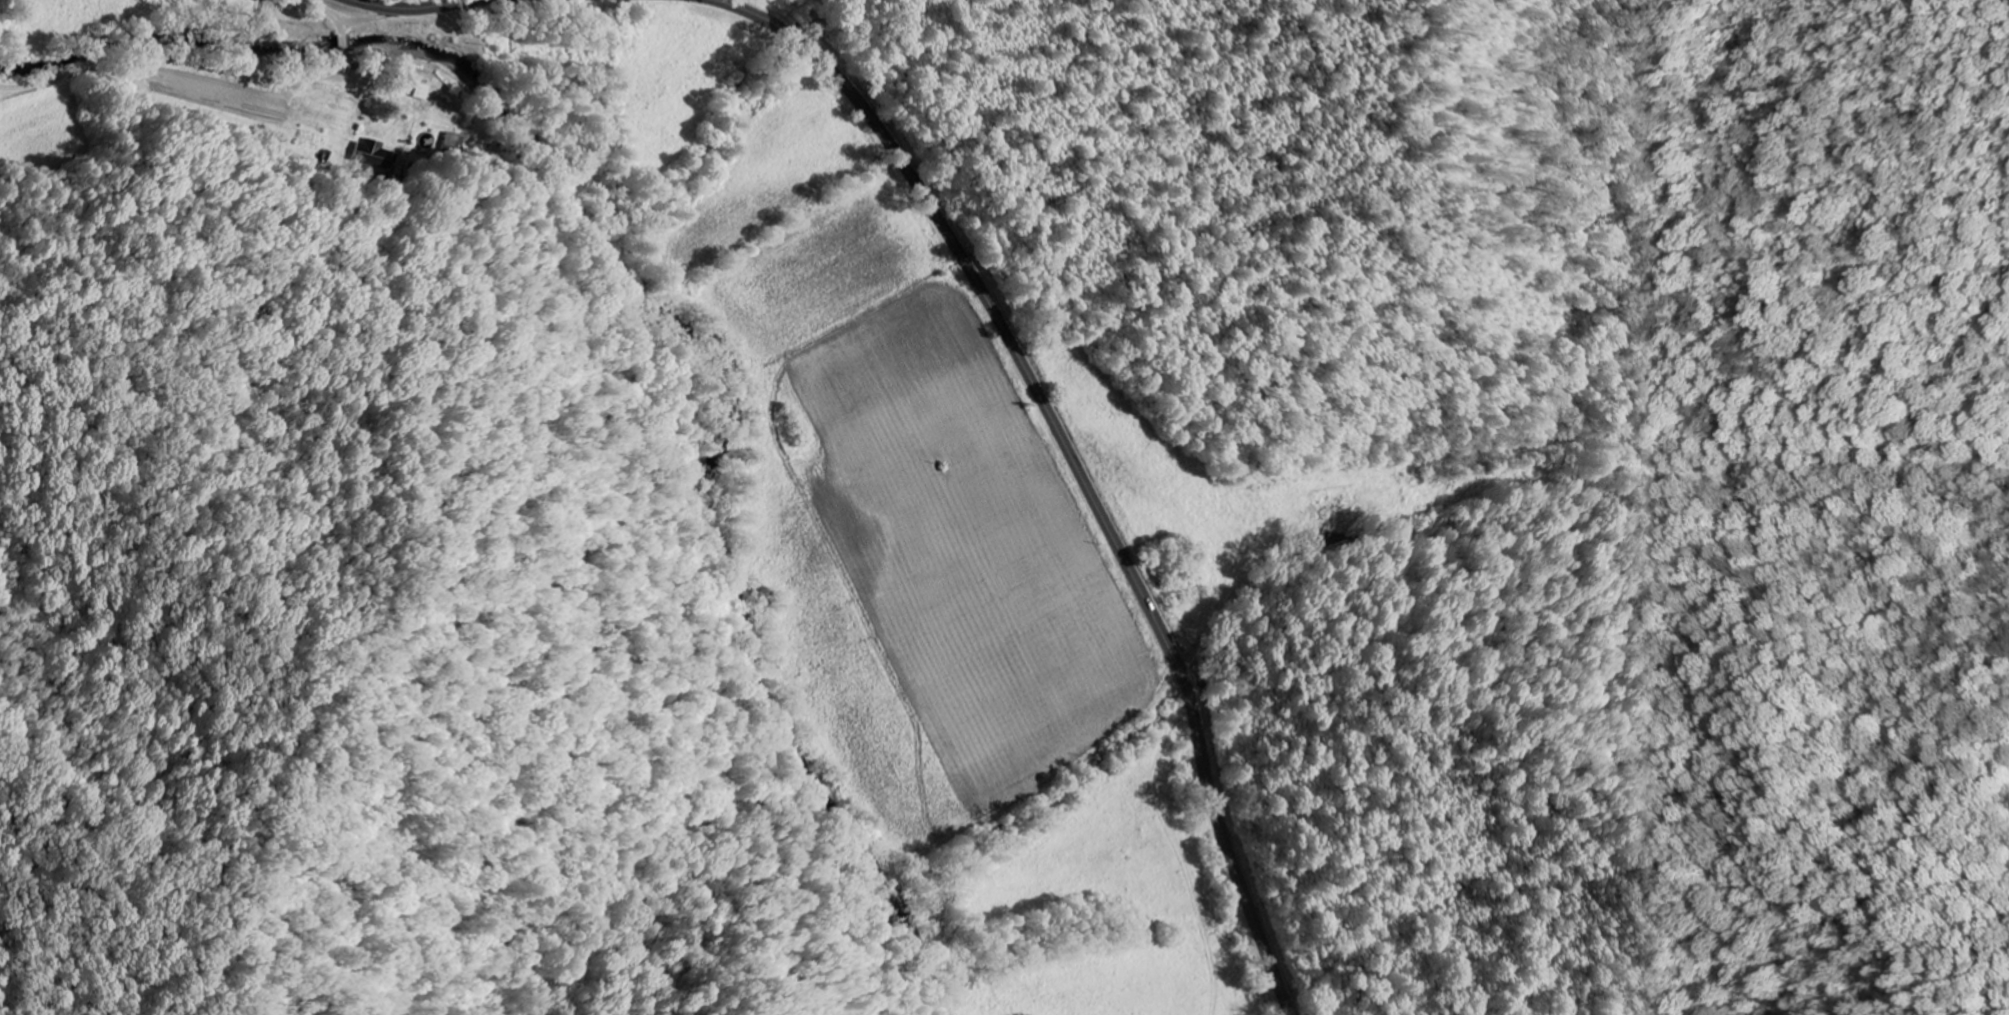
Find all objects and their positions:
road: (418, 8)
road: (232, 62)
road: (1075, 460)

